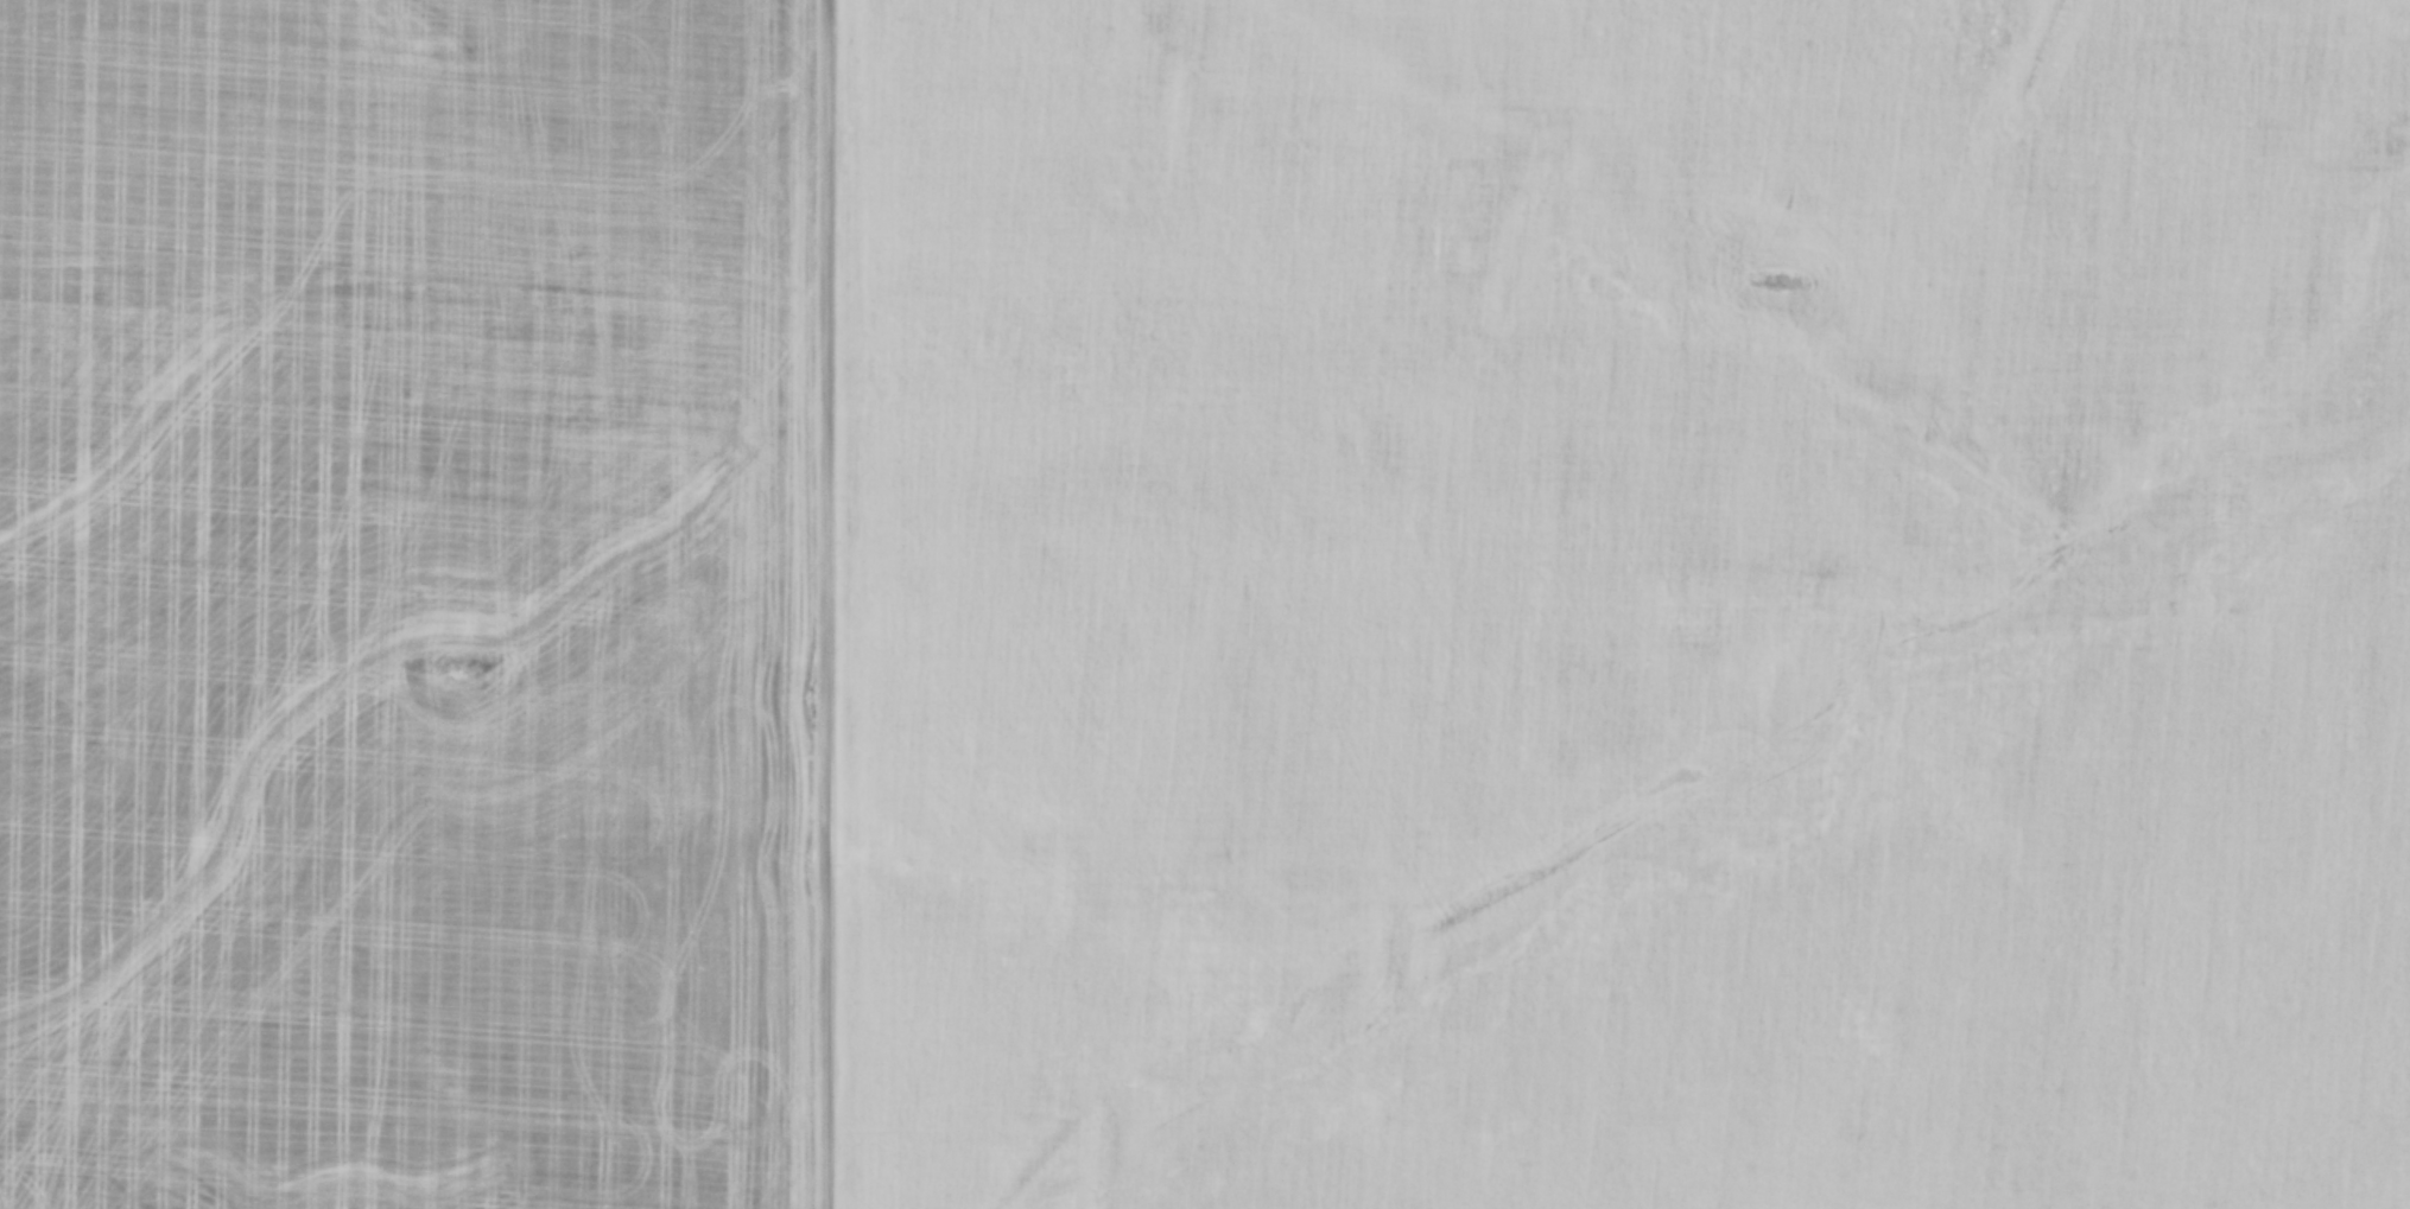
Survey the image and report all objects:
road: (820, 604)

